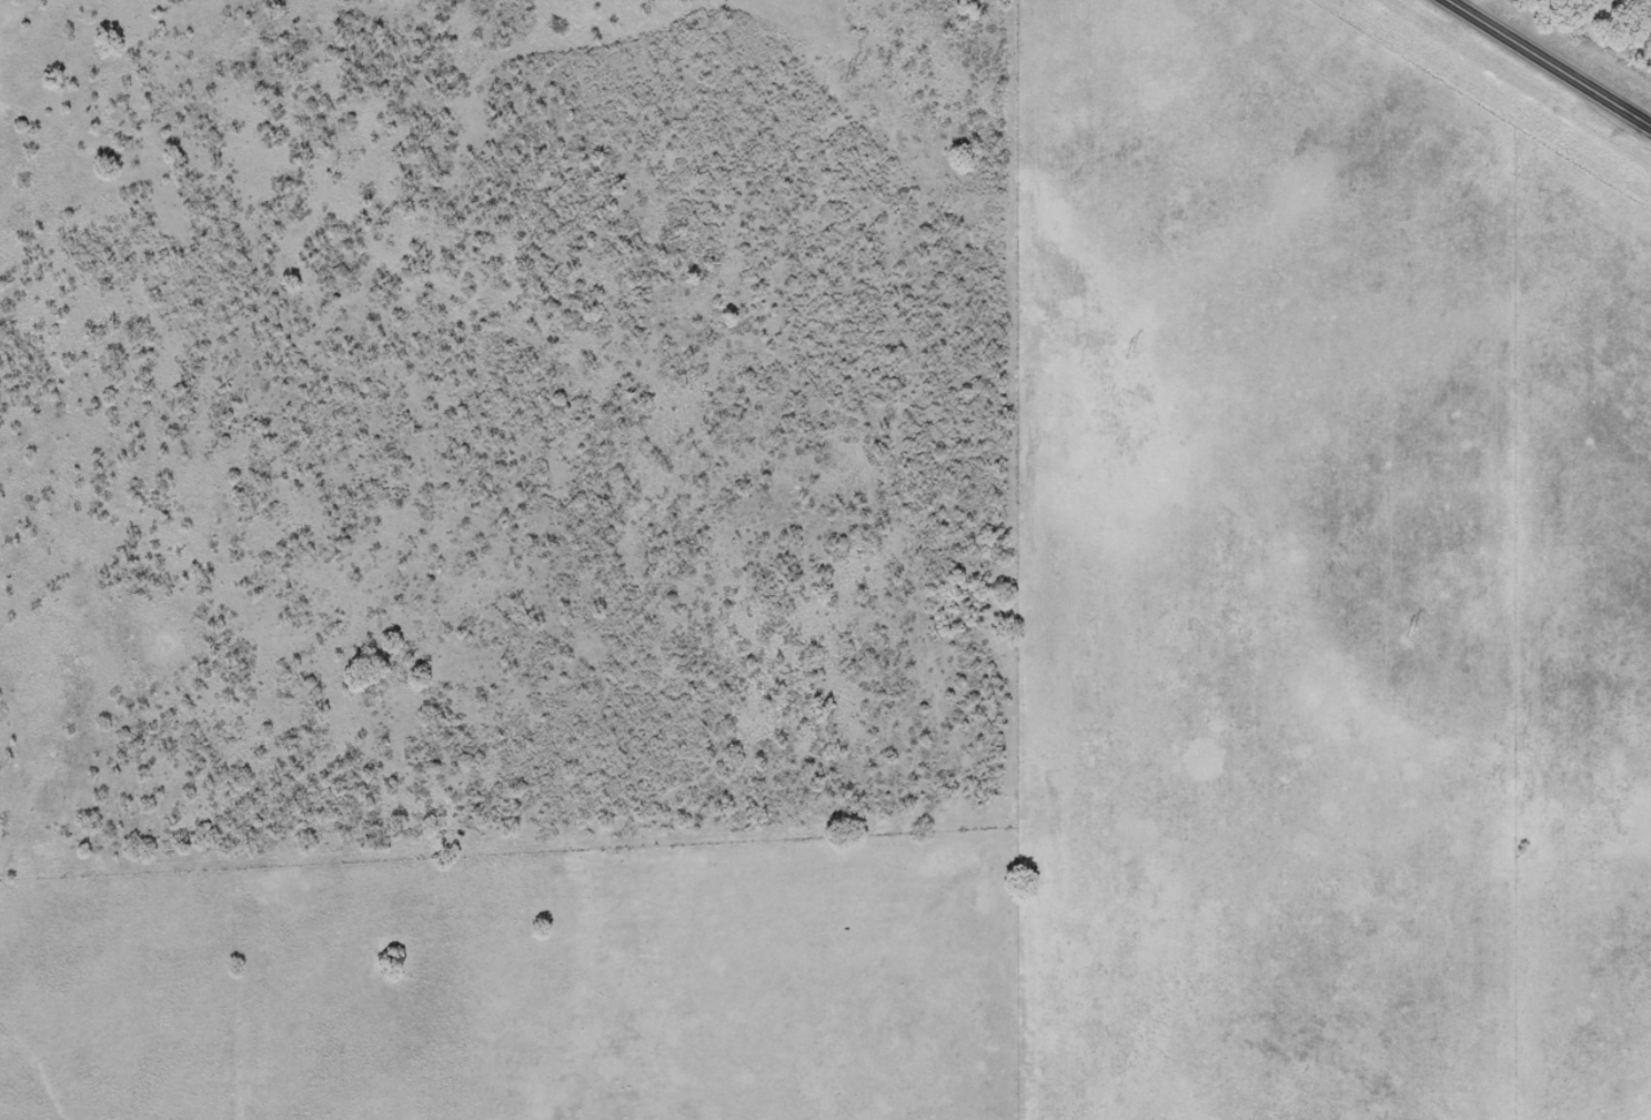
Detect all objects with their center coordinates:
road: (1447, 0)
road: (1548, 62)
power tower: (857, 83)
power tower: (1146, 359)
power tower: (1432, 643)

